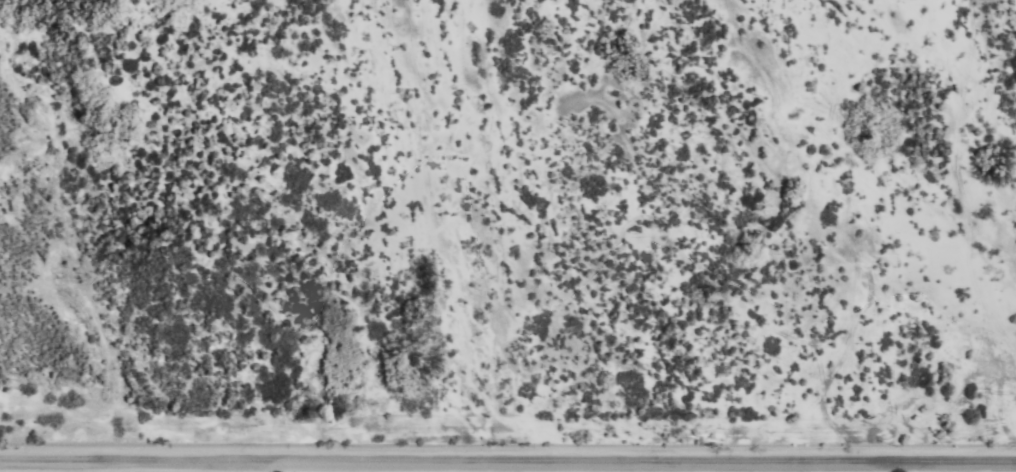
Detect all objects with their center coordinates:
road: (508, 463)

